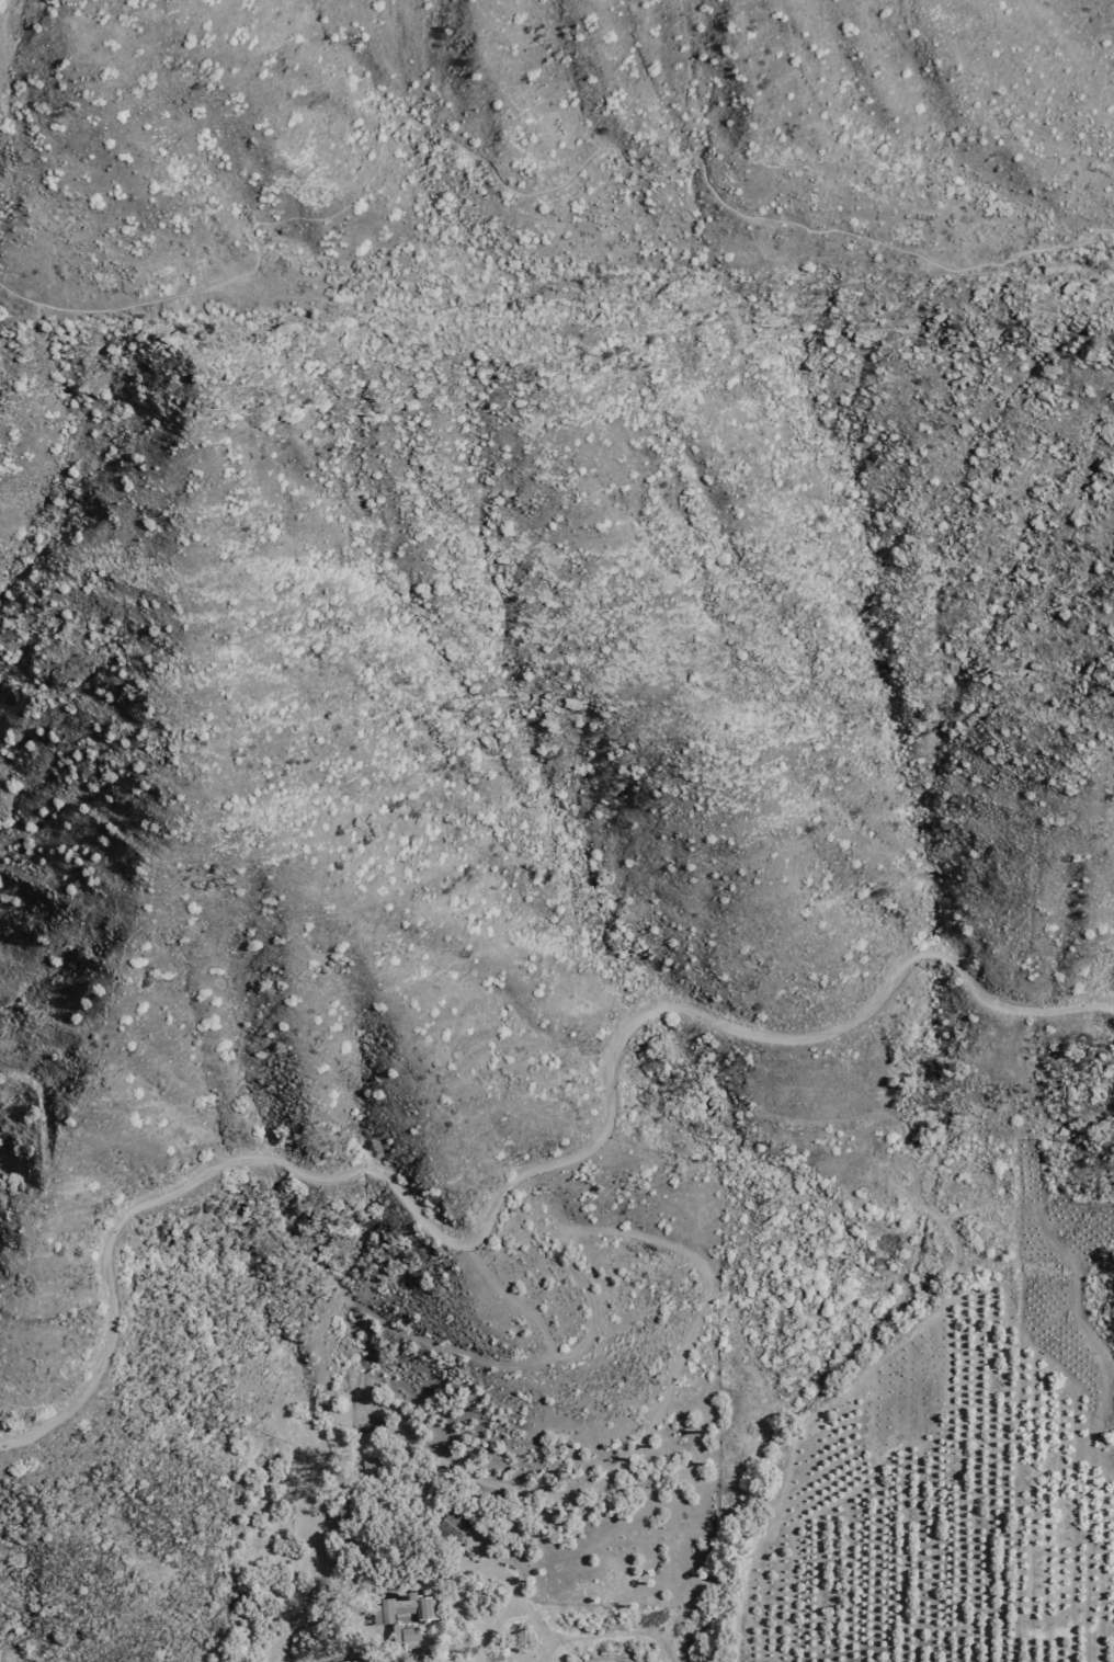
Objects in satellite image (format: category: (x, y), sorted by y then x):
road: (530, 192)
road: (516, 1180)
road: (647, 1237)
road: (26, 1262)
road: (505, 1291)
building: (372, 1462)
building: (345, 1511)
building: (451, 1526)
road: (516, 1585)
building: (399, 1615)
road: (618, 1635)
road: (552, 1652)
building: (343, 1661)

